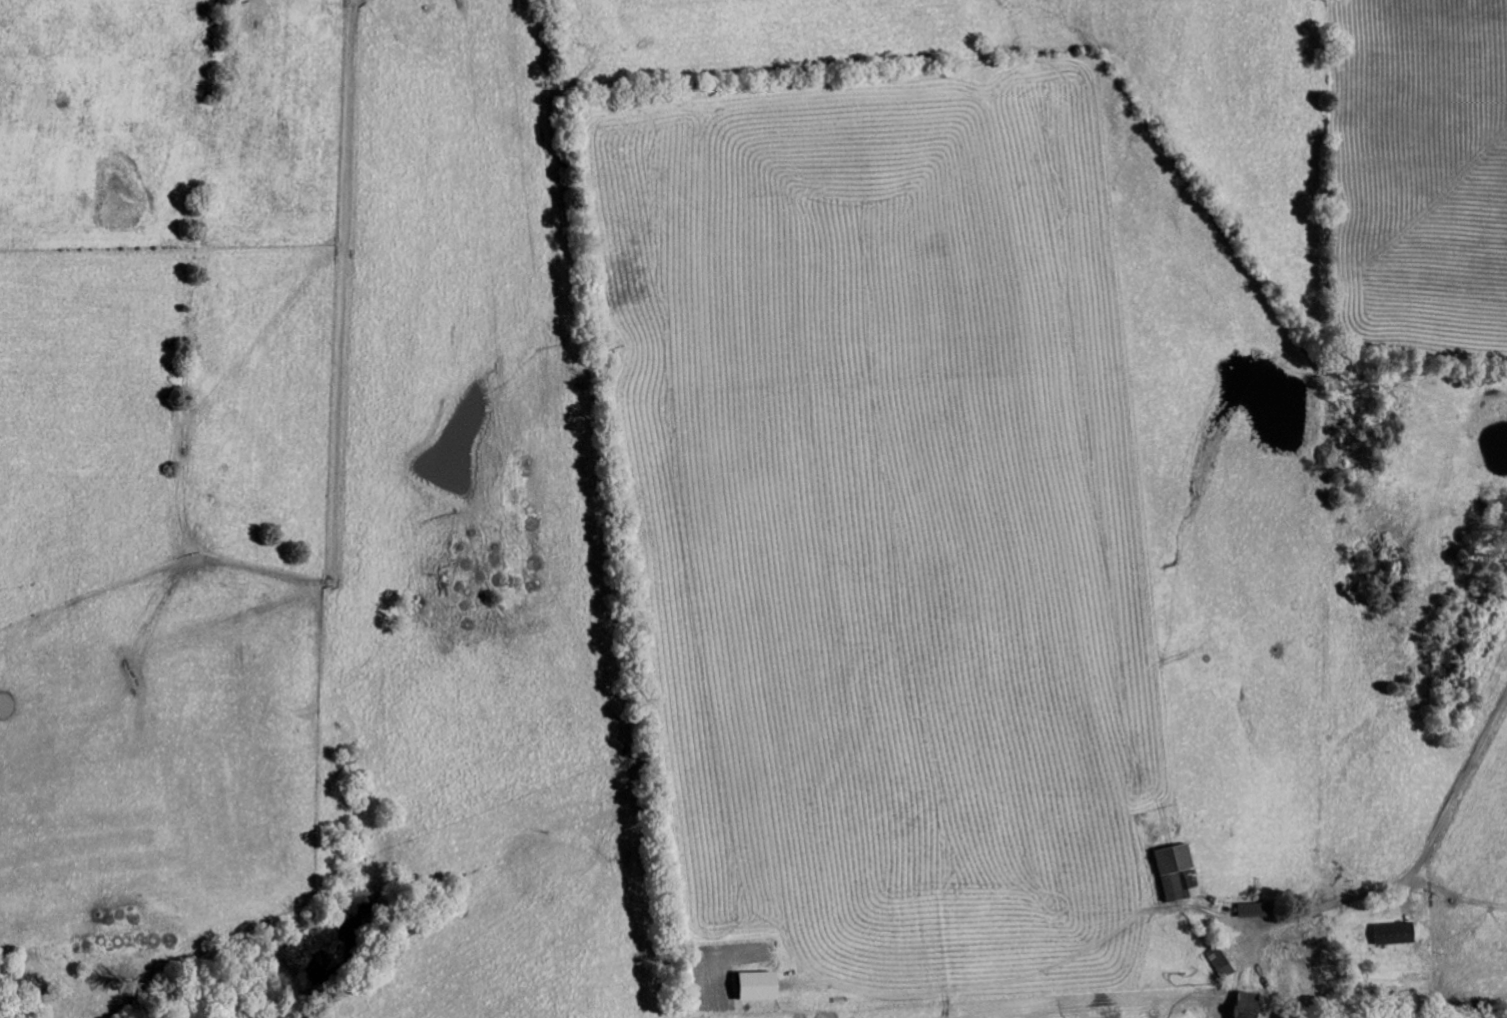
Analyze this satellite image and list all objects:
building: (1169, 876)
building: (1245, 913)
road: (1216, 919)
building: (1384, 936)
building: (747, 989)
building: (1238, 1006)

